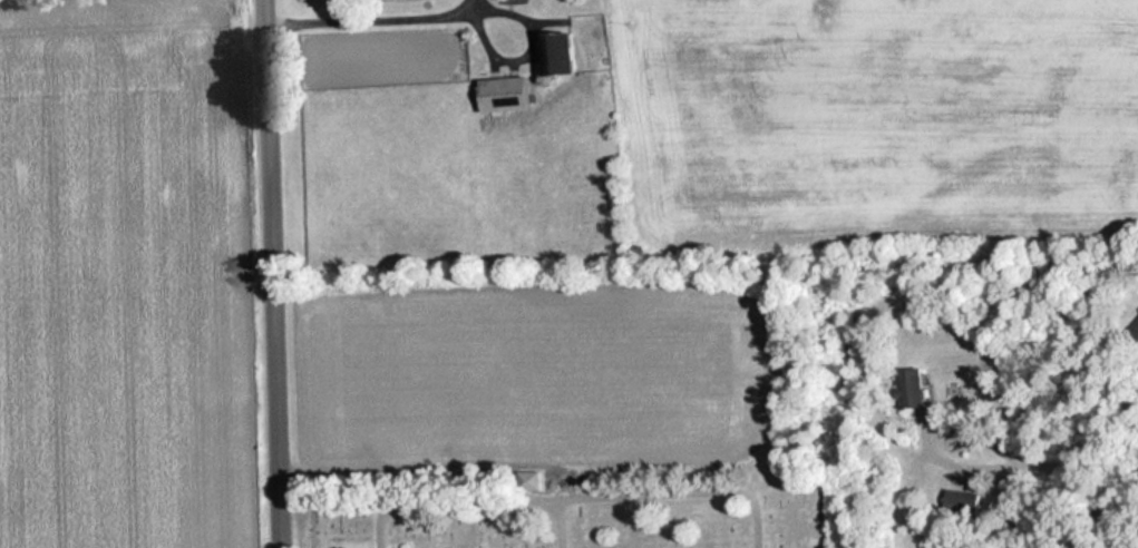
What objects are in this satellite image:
building: (562, 53)
building: (509, 94)
road: (269, 274)
building: (916, 388)
park: (572, 511)

